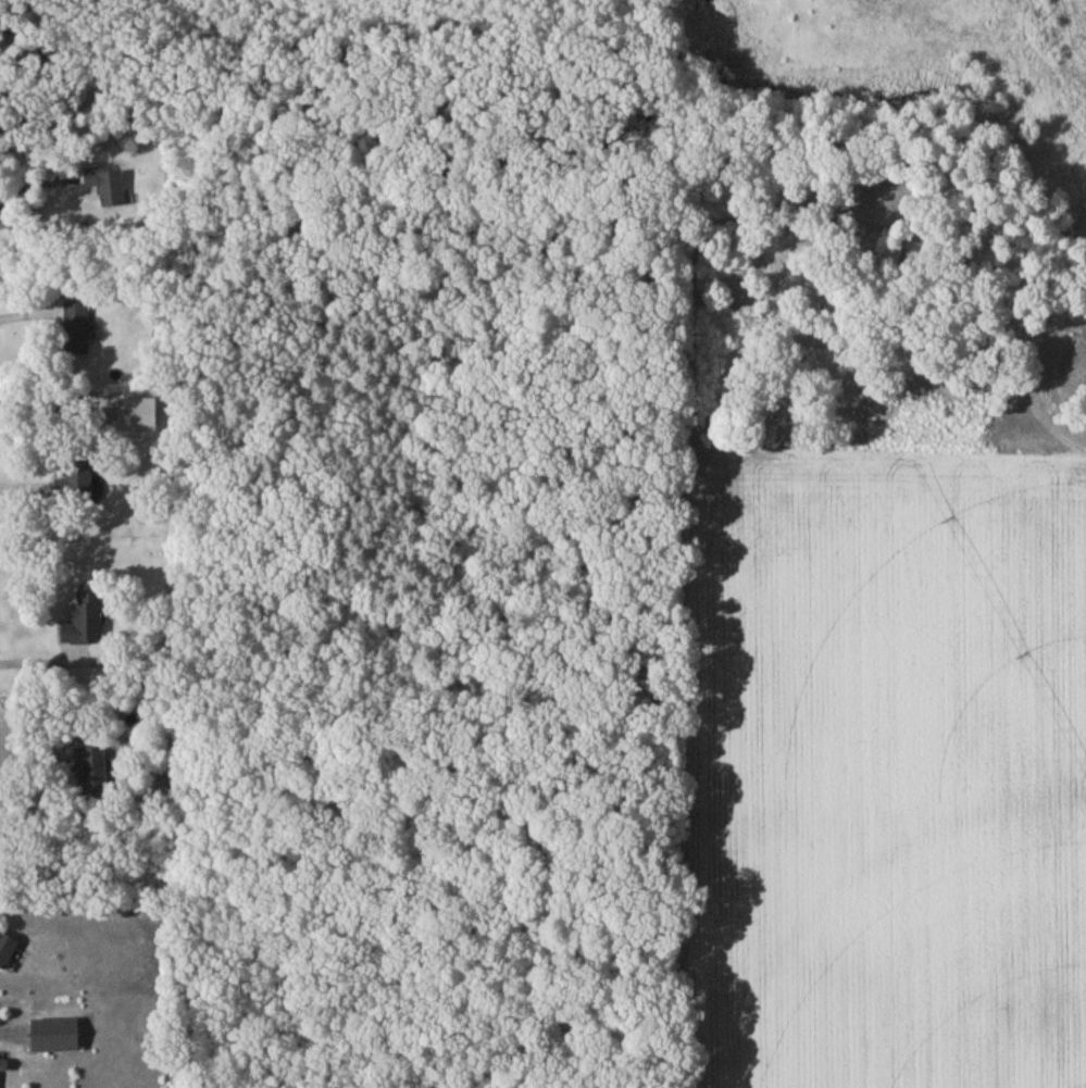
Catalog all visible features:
building: (108, 189)
road: (28, 190)
building: (77, 333)
building: (77, 484)
building: (87, 624)
building: (92, 774)
building: (8, 953)
building: (58, 1039)
building: (4, 1068)

